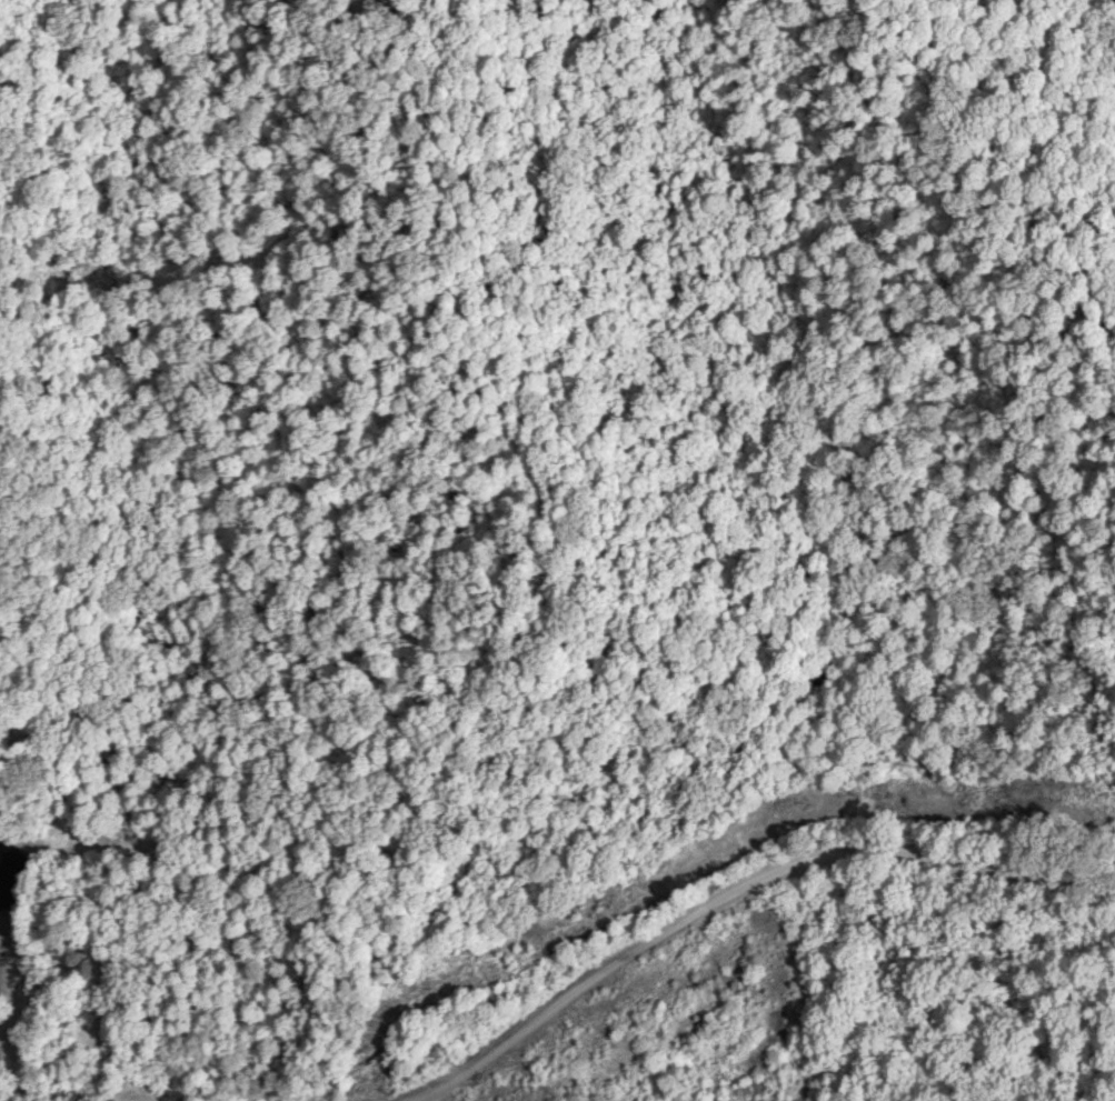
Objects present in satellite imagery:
road: (1114, 0)
road: (728, 889)

